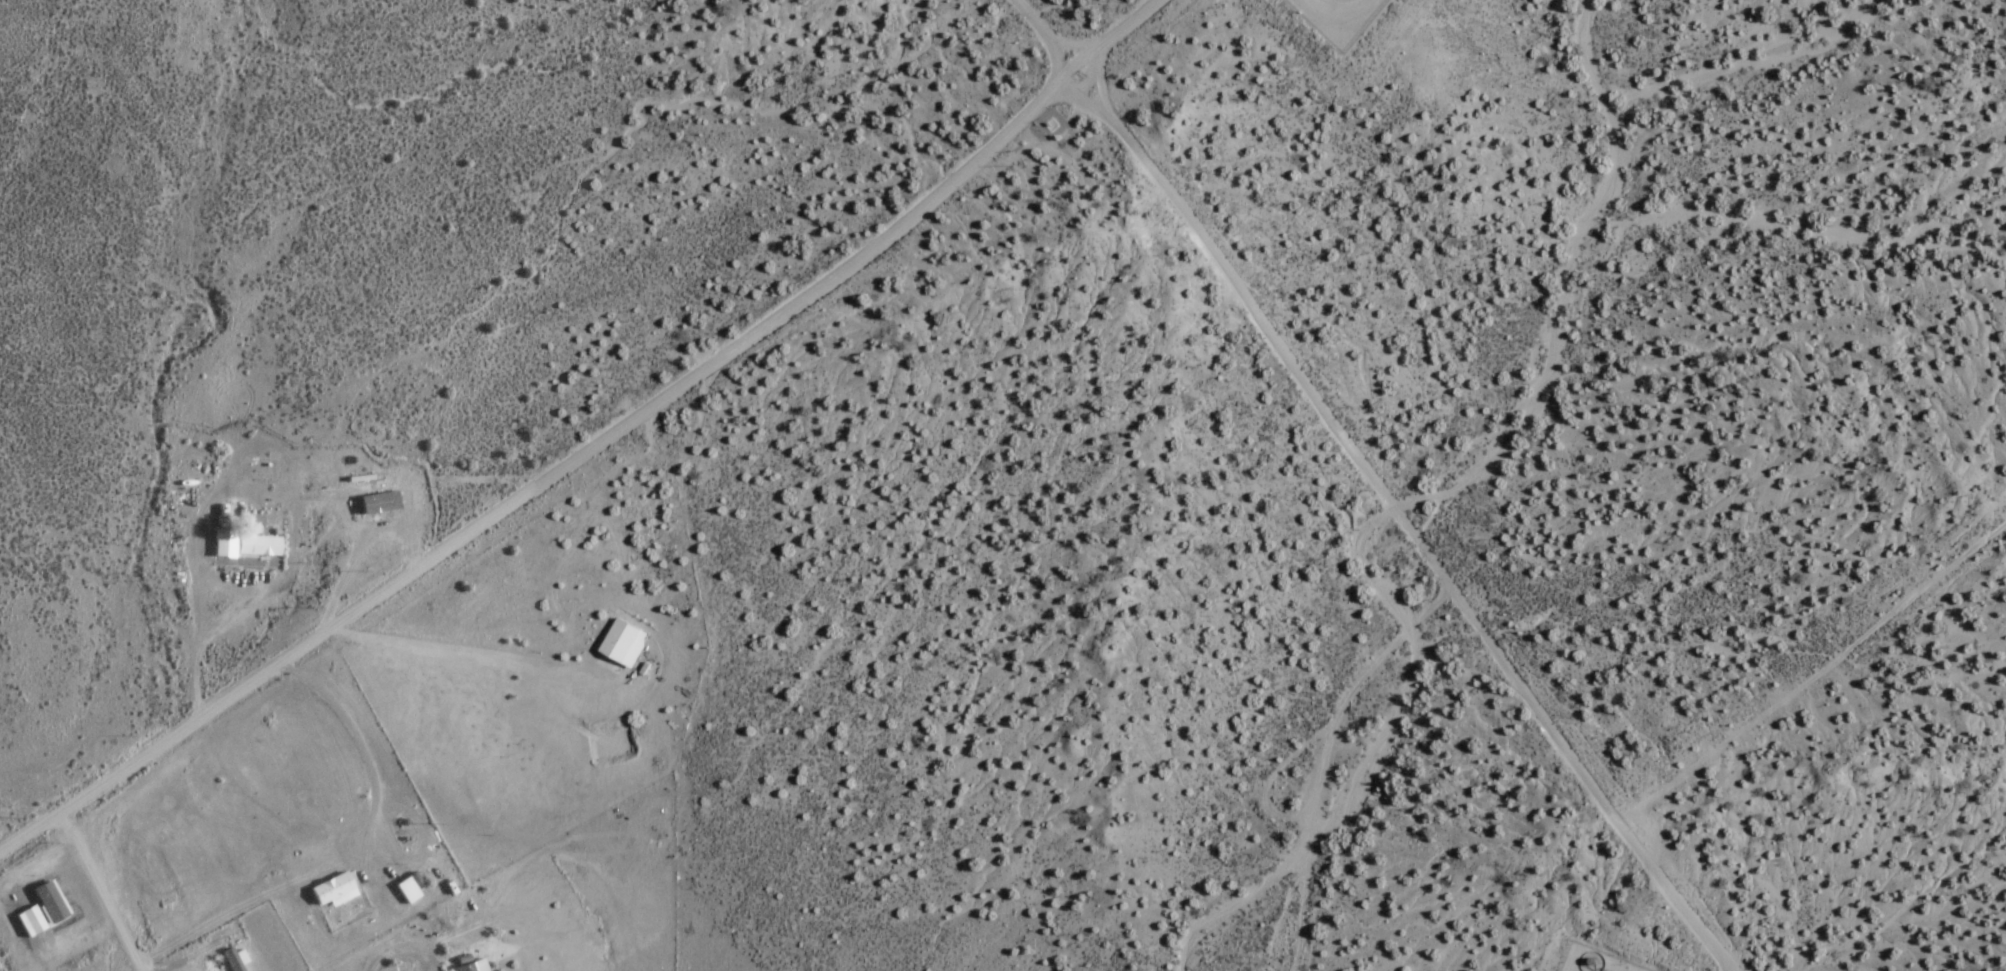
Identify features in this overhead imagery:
road: (1327, 0)
road: (1038, 36)
road: (1062, 40)
road: (1087, 76)
road: (586, 442)
road: (1389, 516)
building: (226, 543)
building: (260, 545)
building: (611, 642)
road: (452, 648)
road: (1700, 753)
road: (1313, 757)
road: (361, 770)
road: (1260, 778)
building: (322, 890)
road: (92, 891)
building: (399, 893)
building: (41, 903)
building: (32, 921)
building: (22, 923)
road: (390, 955)
building: (223, 960)
road: (171, 967)
road: (1721, 967)
building: (458, 969)

